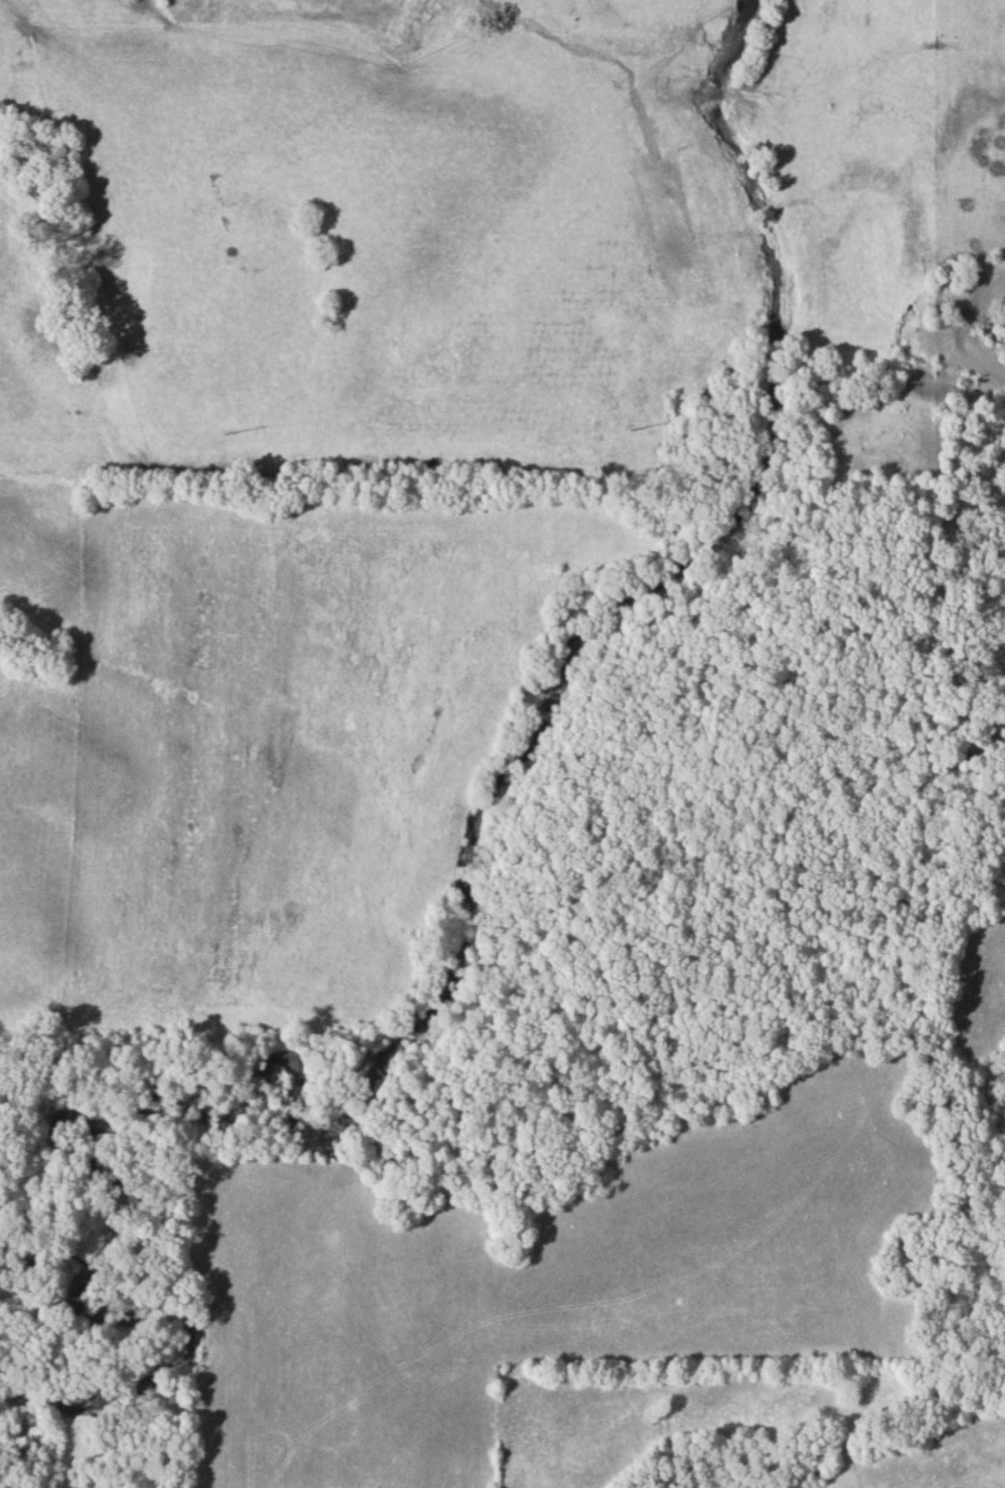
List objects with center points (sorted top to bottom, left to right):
river: (446, 965)

